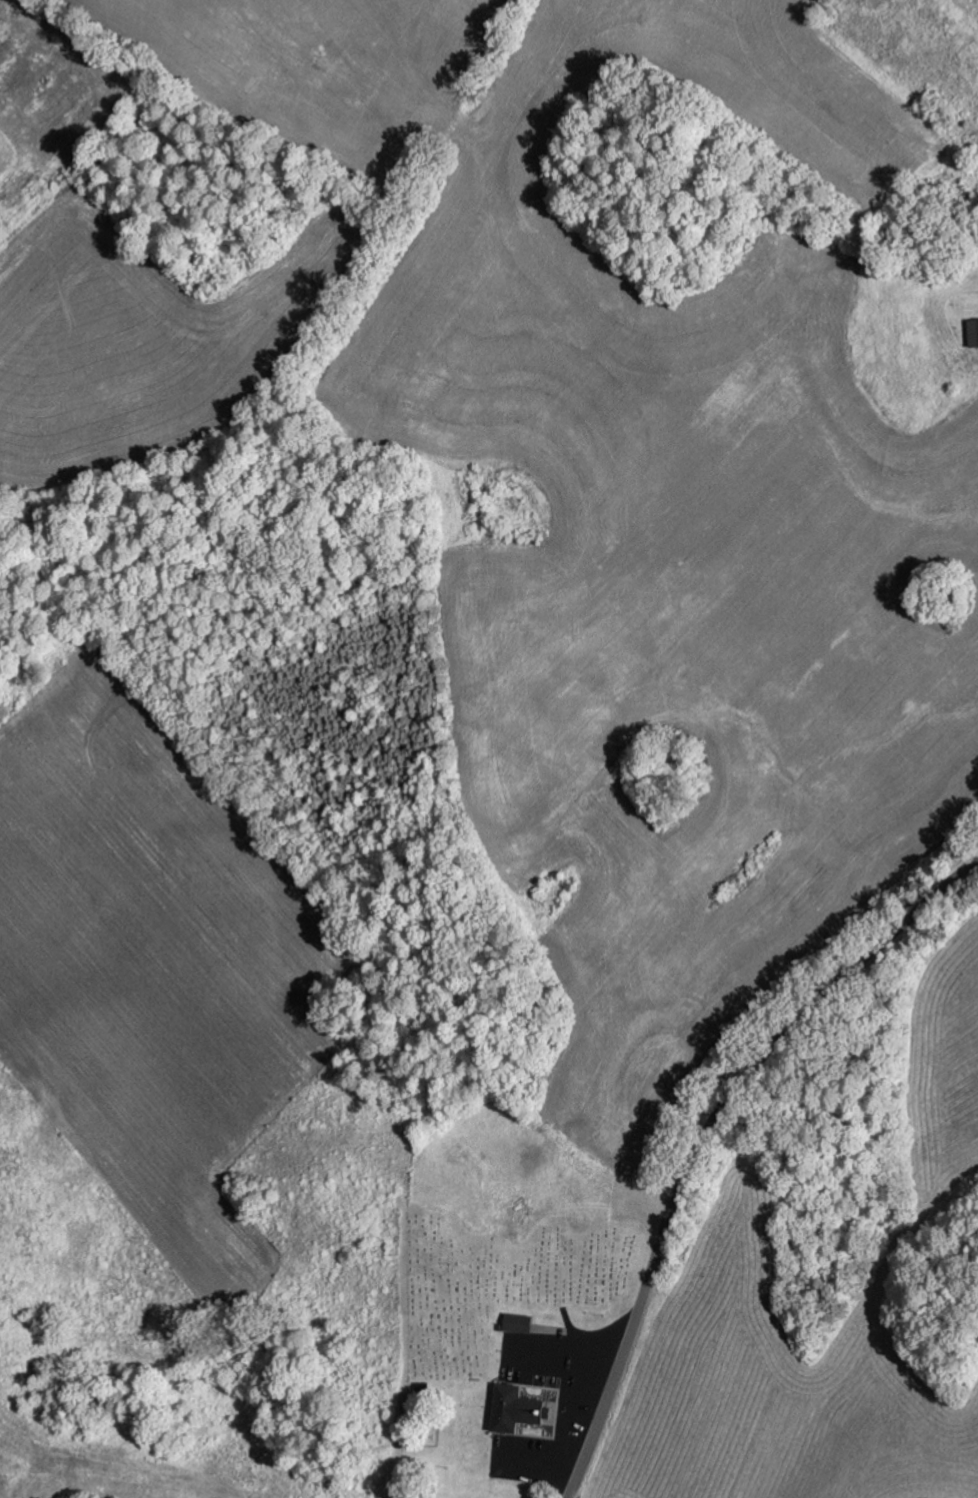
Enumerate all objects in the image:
building: (976, 332)
road: (705, 1134)
building: (523, 1323)

